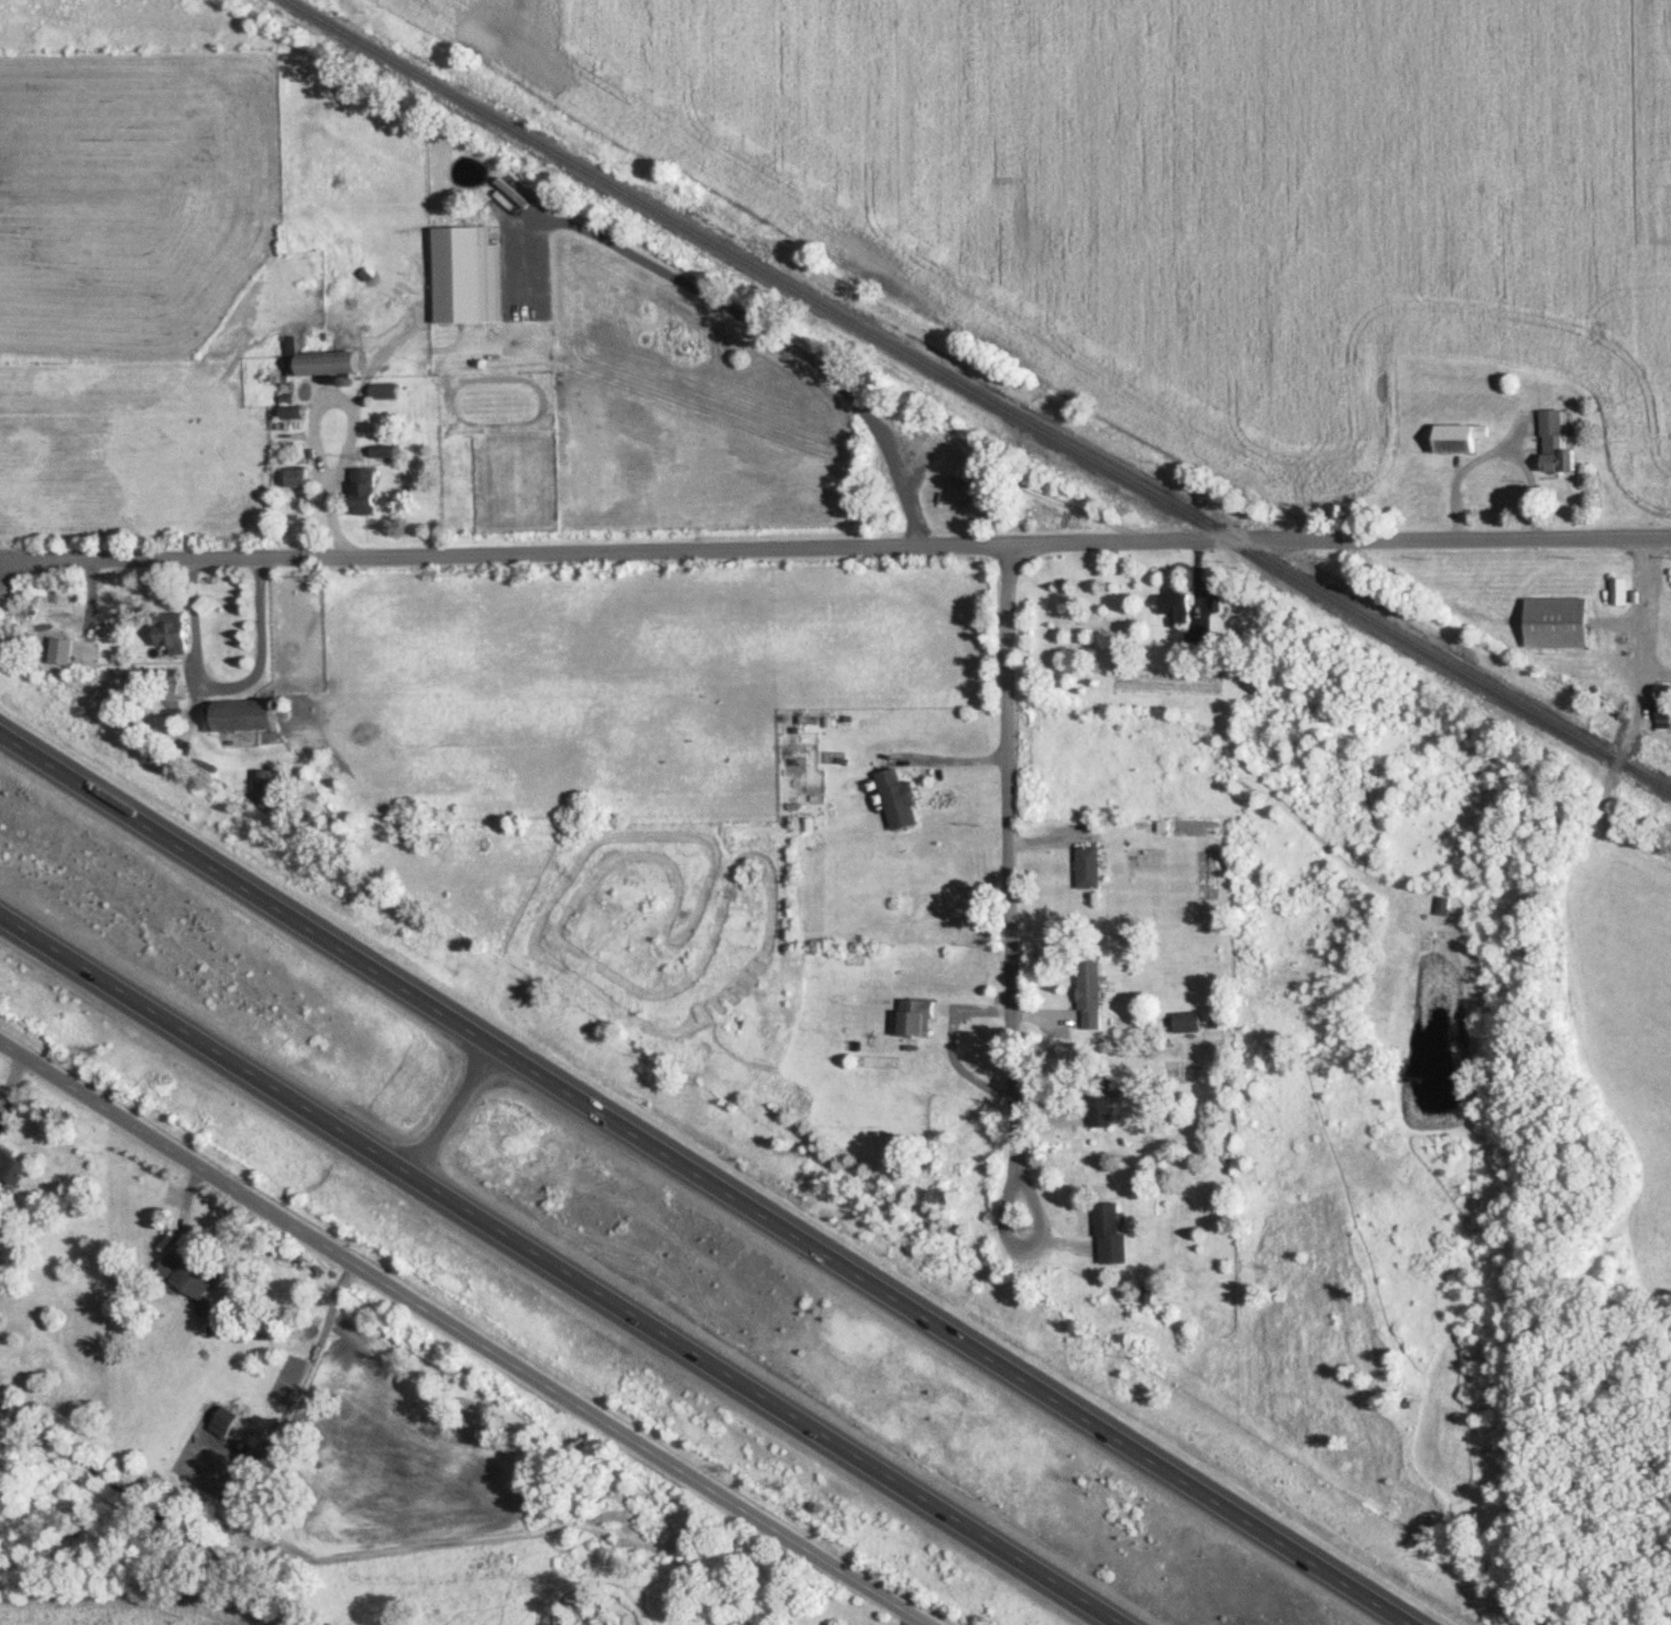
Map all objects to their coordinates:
building: (457, 283)
building: (318, 361)
building: (383, 392)
railway: (976, 393)
road: (309, 416)
building: (1452, 438)
building: (1553, 443)
road: (1495, 446)
building: (296, 479)
building: (363, 491)
road: (834, 545)
building: (1175, 608)
road: (1643, 610)
building: (1554, 623)
building: (169, 632)
building: (1197, 640)
building: (61, 650)
road: (230, 681)
building: (1662, 702)
building: (241, 715)
road: (952, 764)
building: (267, 790)
building: (897, 799)
building: (1087, 867)
road: (1010, 886)
building: (1442, 904)
building: (1088, 992)
building: (914, 1018)
building: (1185, 1021)
road: (952, 1046)
road: (441, 1104)
building: (1099, 1105)
building: (11, 1167)
road: (702, 1182)
building: (1110, 1234)
road: (562, 1266)
building: (184, 1277)
road: (468, 1330)
road: (316, 1351)
building: (223, 1418)

